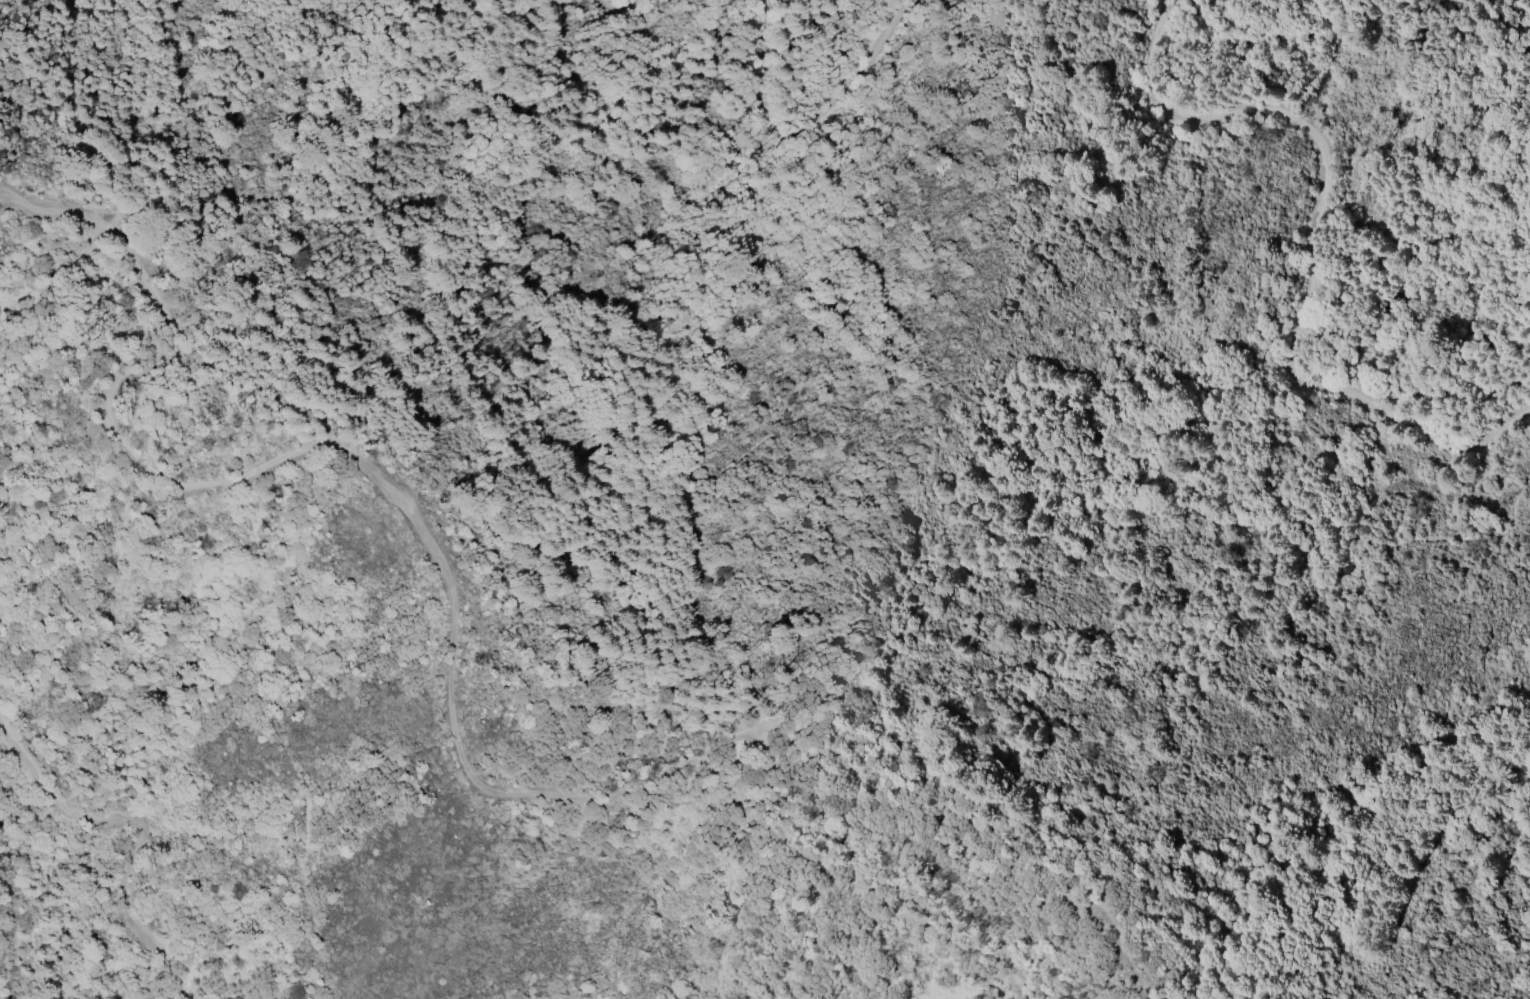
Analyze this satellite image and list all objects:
road: (816, 129)
road: (1309, 246)
road: (53, 278)
road: (736, 460)
road: (450, 633)
road: (132, 834)
road: (1112, 938)

